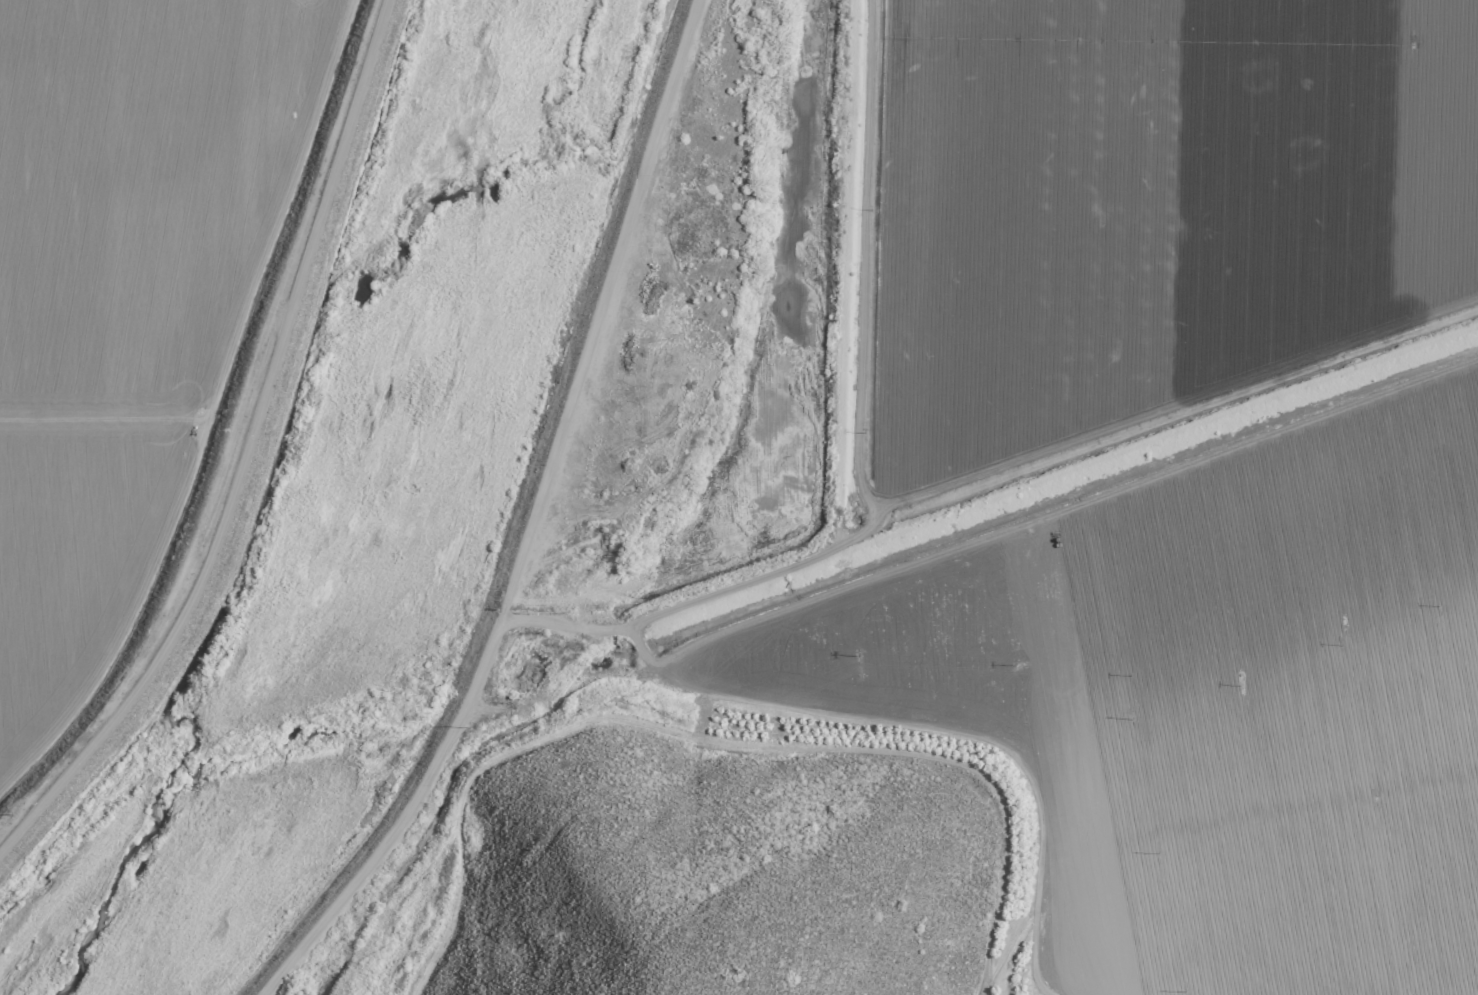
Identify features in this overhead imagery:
road: (600, 300)
crop: (134, 308)
crop: (1117, 468)
river: (357, 531)
road: (572, 628)
road: (399, 810)

